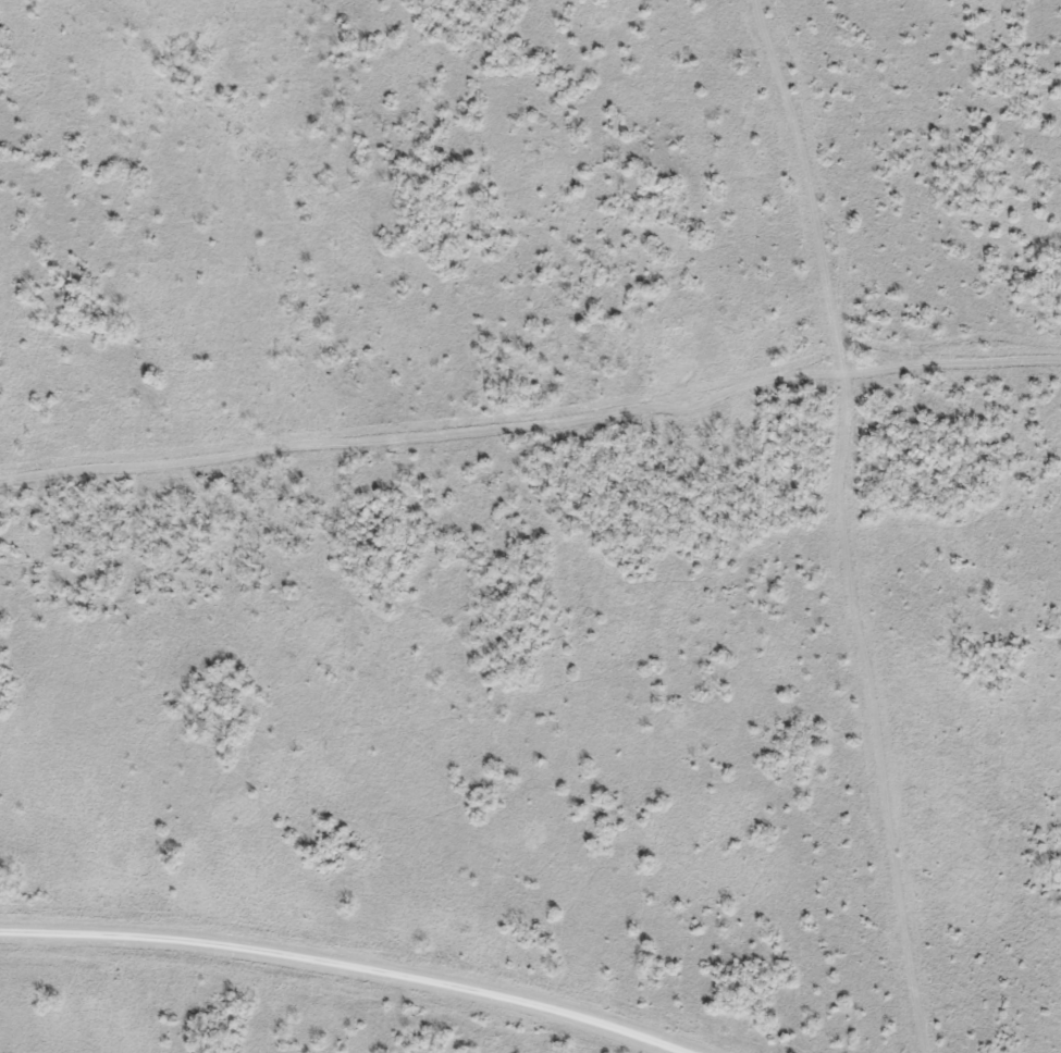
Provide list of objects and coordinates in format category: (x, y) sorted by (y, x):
road: (355, 946)

